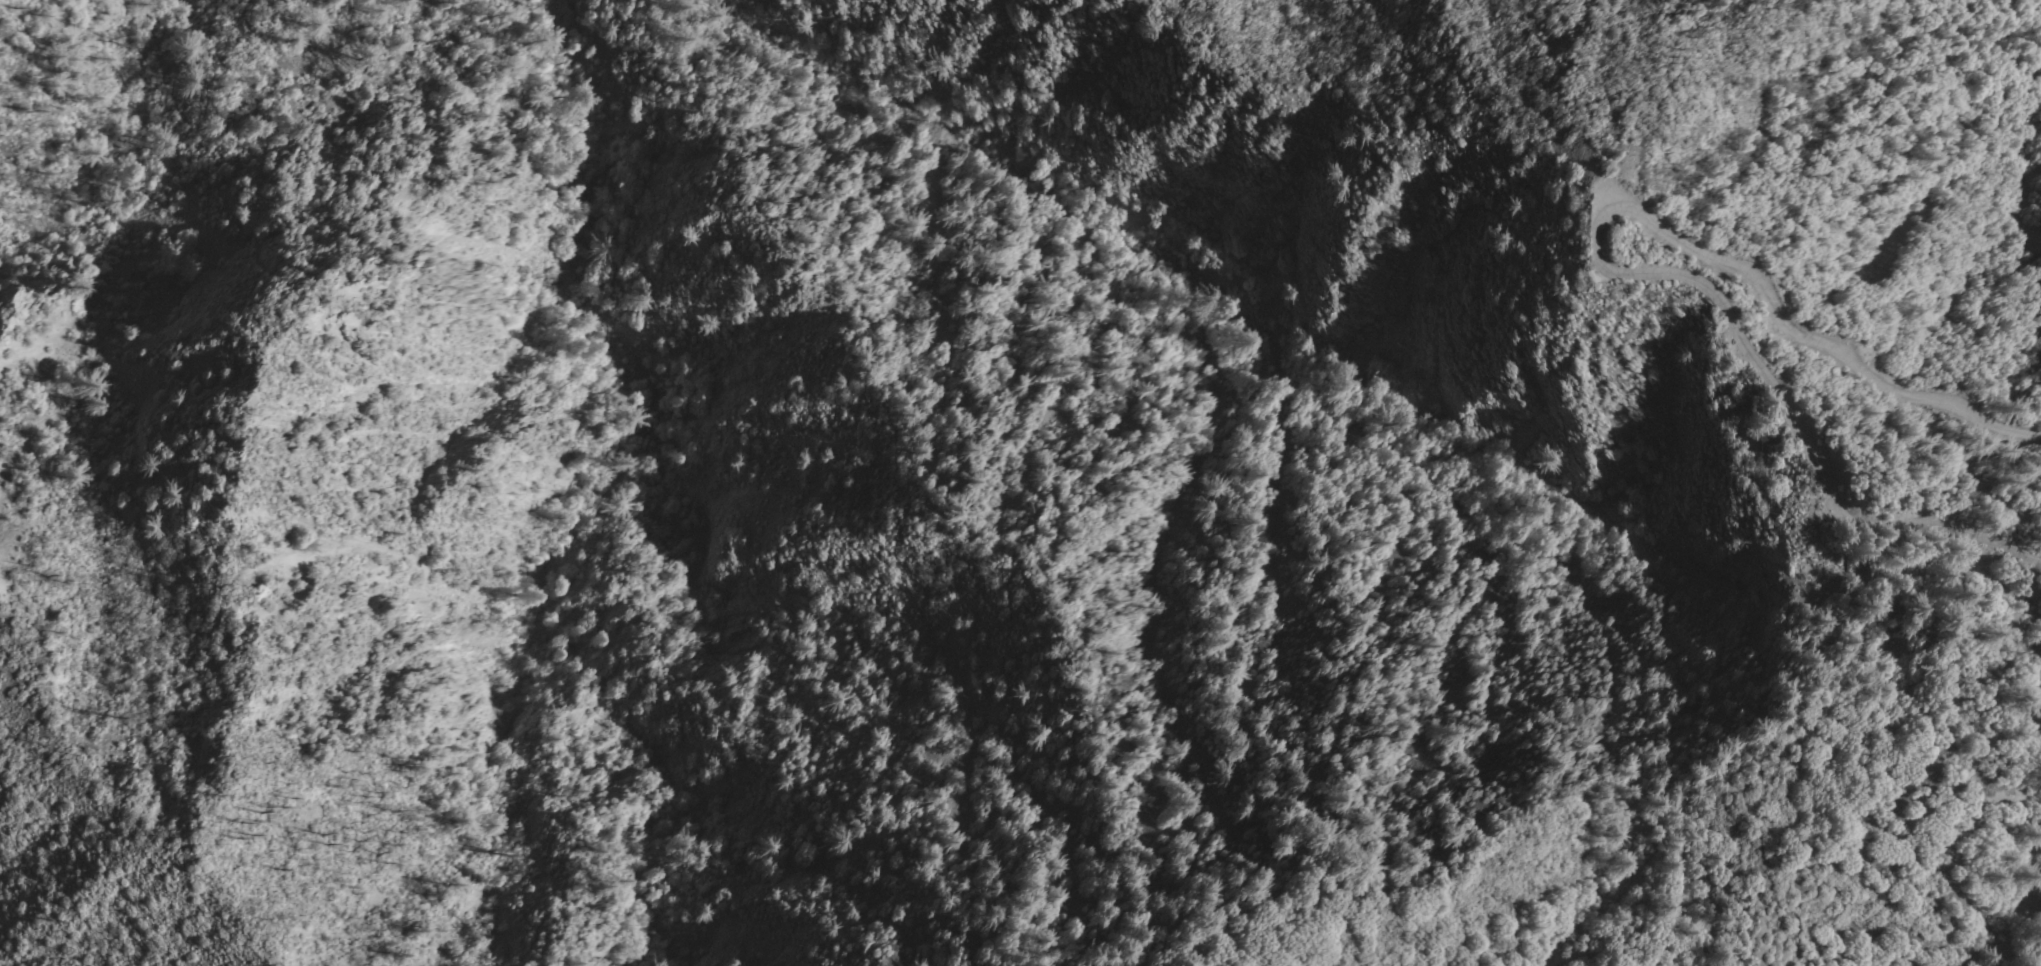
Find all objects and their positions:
road: (1577, 255)

